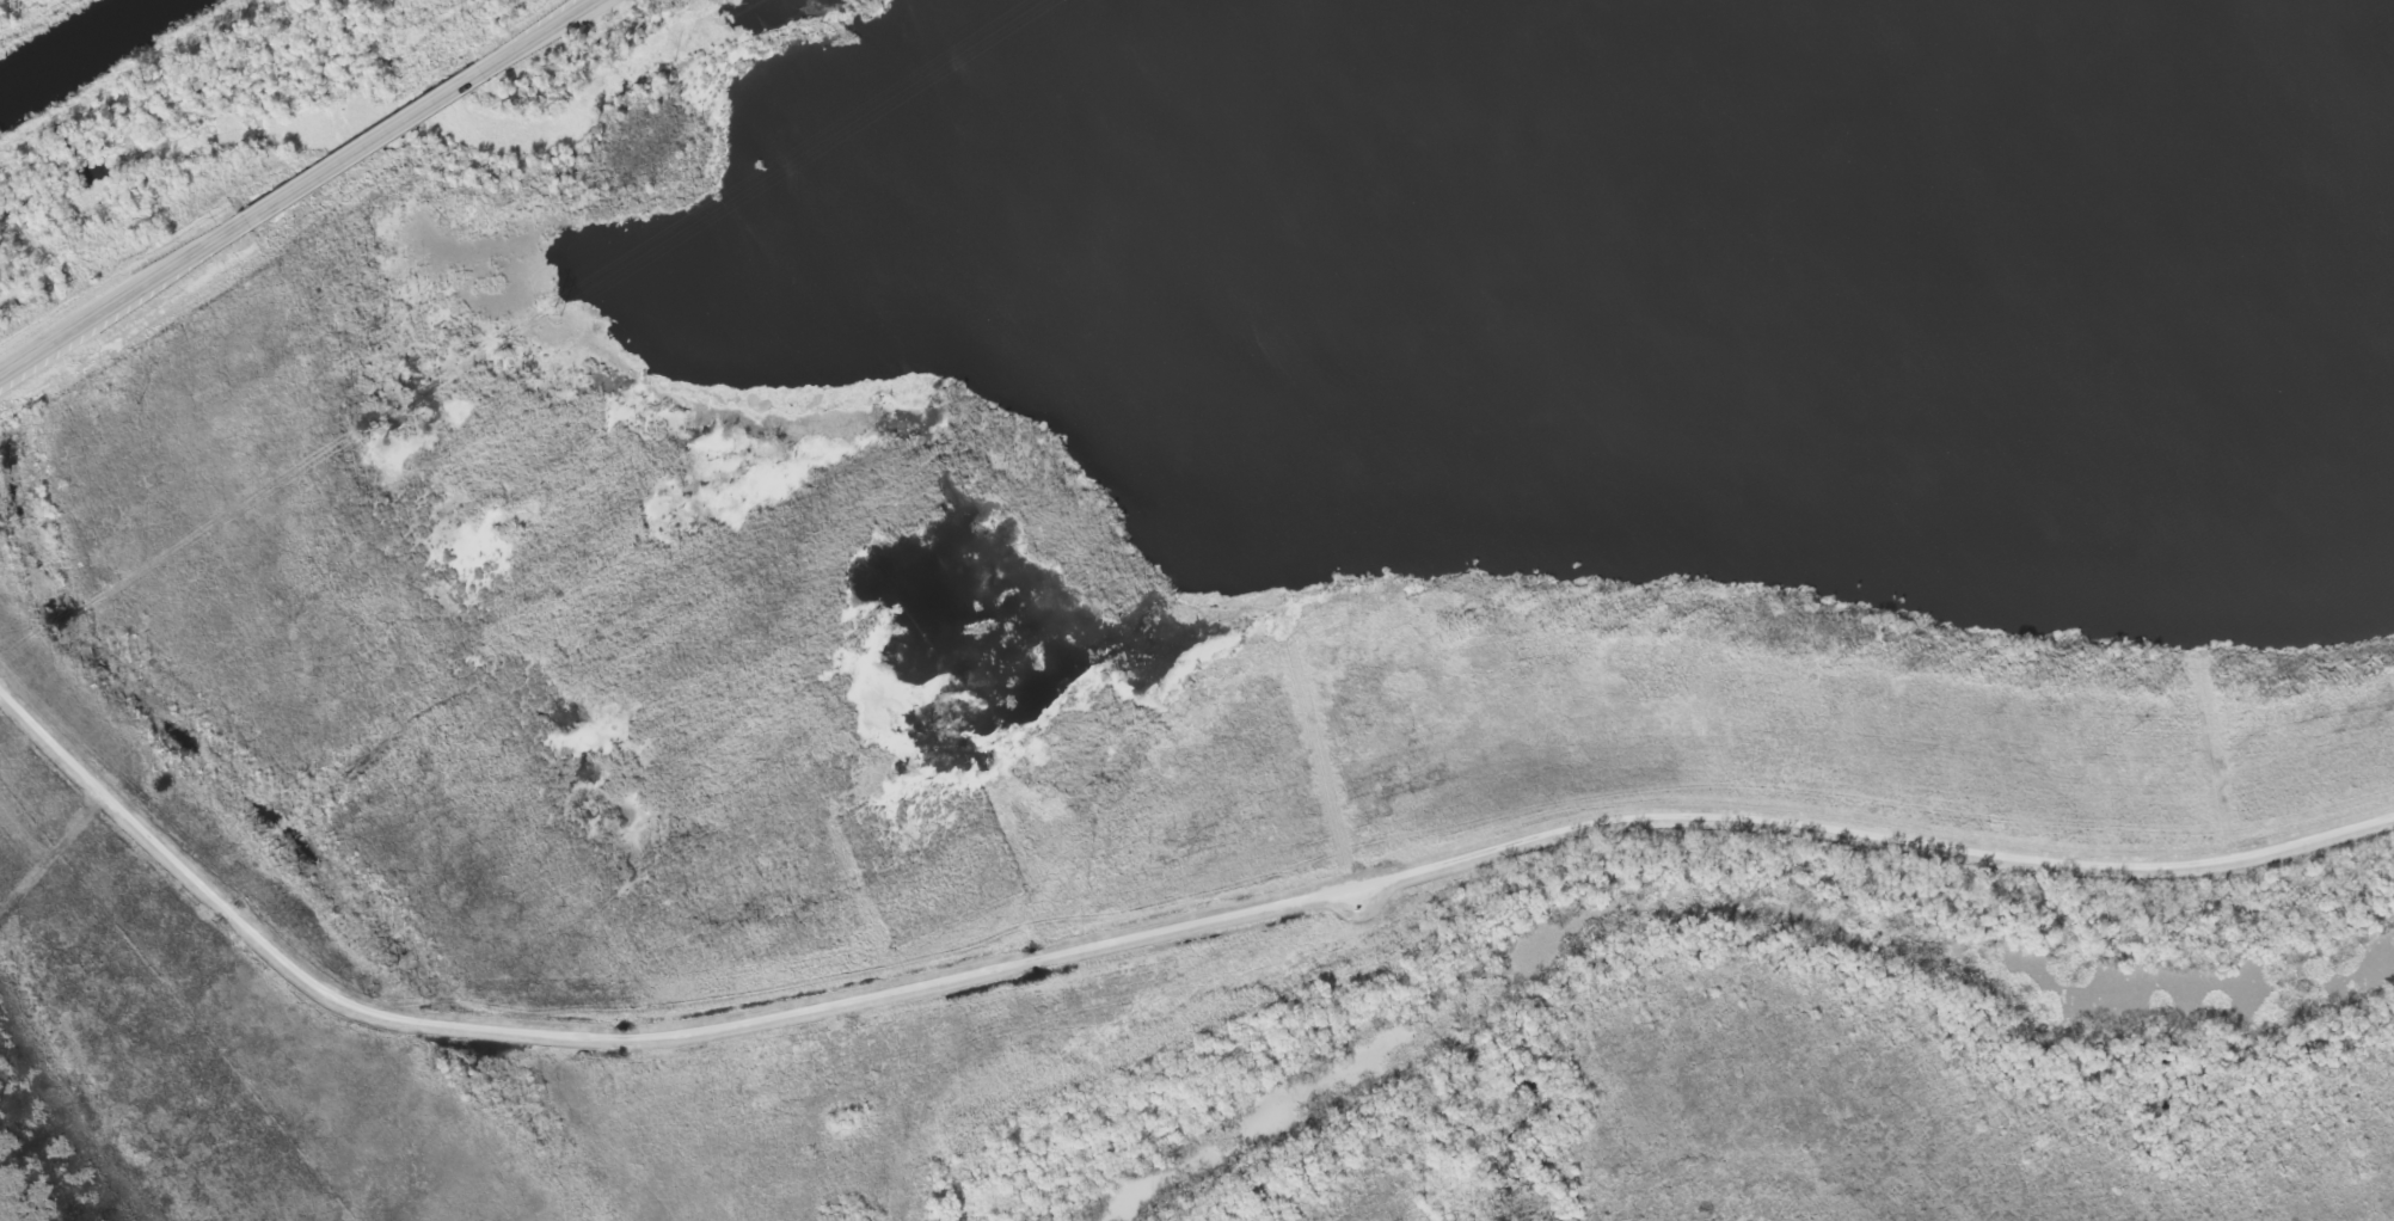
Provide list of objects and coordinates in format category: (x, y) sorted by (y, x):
road: (538, 36)
road: (362, 147)
road: (121, 301)
power tower: (557, 312)
power tower: (51, 634)
road: (1138, 928)

